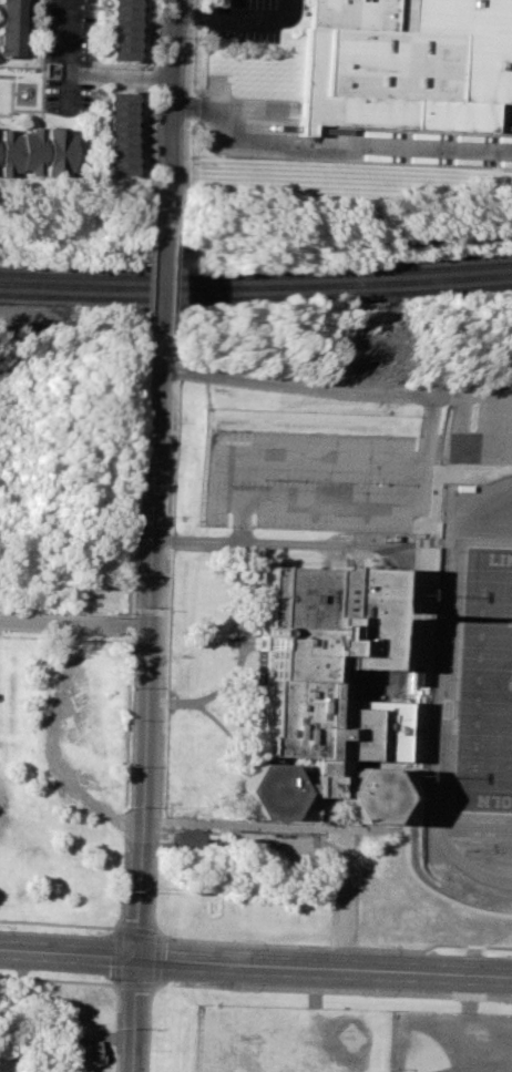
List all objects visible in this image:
road: (216, 9)
road: (193, 17)
road: (257, 18)
parking lot: (249, 19)
building: (12, 28)
building: (122, 30)
road: (69, 55)
parking lot: (68, 57)
building: (405, 64)
road: (117, 78)
road: (214, 94)
road: (164, 118)
road: (185, 118)
building: (119, 132)
road: (330, 145)
building: (35, 151)
railway: (256, 276)
road: (161, 283)
road: (175, 283)
railway: (256, 287)
railway: (256, 298)
road: (440, 396)
road: (484, 396)
parking lot: (478, 426)
road: (457, 451)
parking lot: (306, 482)
road: (389, 512)
road: (242, 524)
road: (372, 548)
road: (75, 624)
road: (151, 646)
track: (436, 651)
park: (480, 651)
building: (320, 690)
road: (161, 728)
road: (305, 826)
building: (187, 837)
road: (344, 877)
road: (355, 899)
building: (395, 915)
street lamp: (101, 932)
street lamp: (234, 940)
street lamp: (366, 945)
road: (431, 946)
street lamp: (501, 954)
road: (68, 958)
road: (325, 969)
street lamp: (96, 977)
road: (289, 988)
street lamp: (231, 991)
street lamp: (363, 997)
street lamp: (498, 1003)
road: (135, 1018)
road: (470, 1031)
park: (278, 1038)
building: (81, 1048)
road: (448, 1052)

